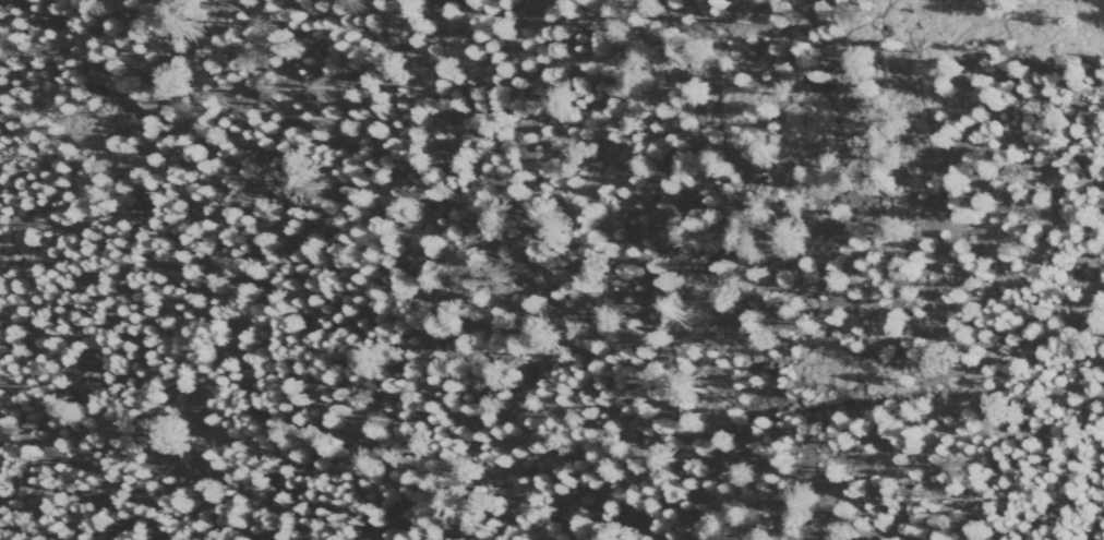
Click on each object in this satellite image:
road: (925, 230)

